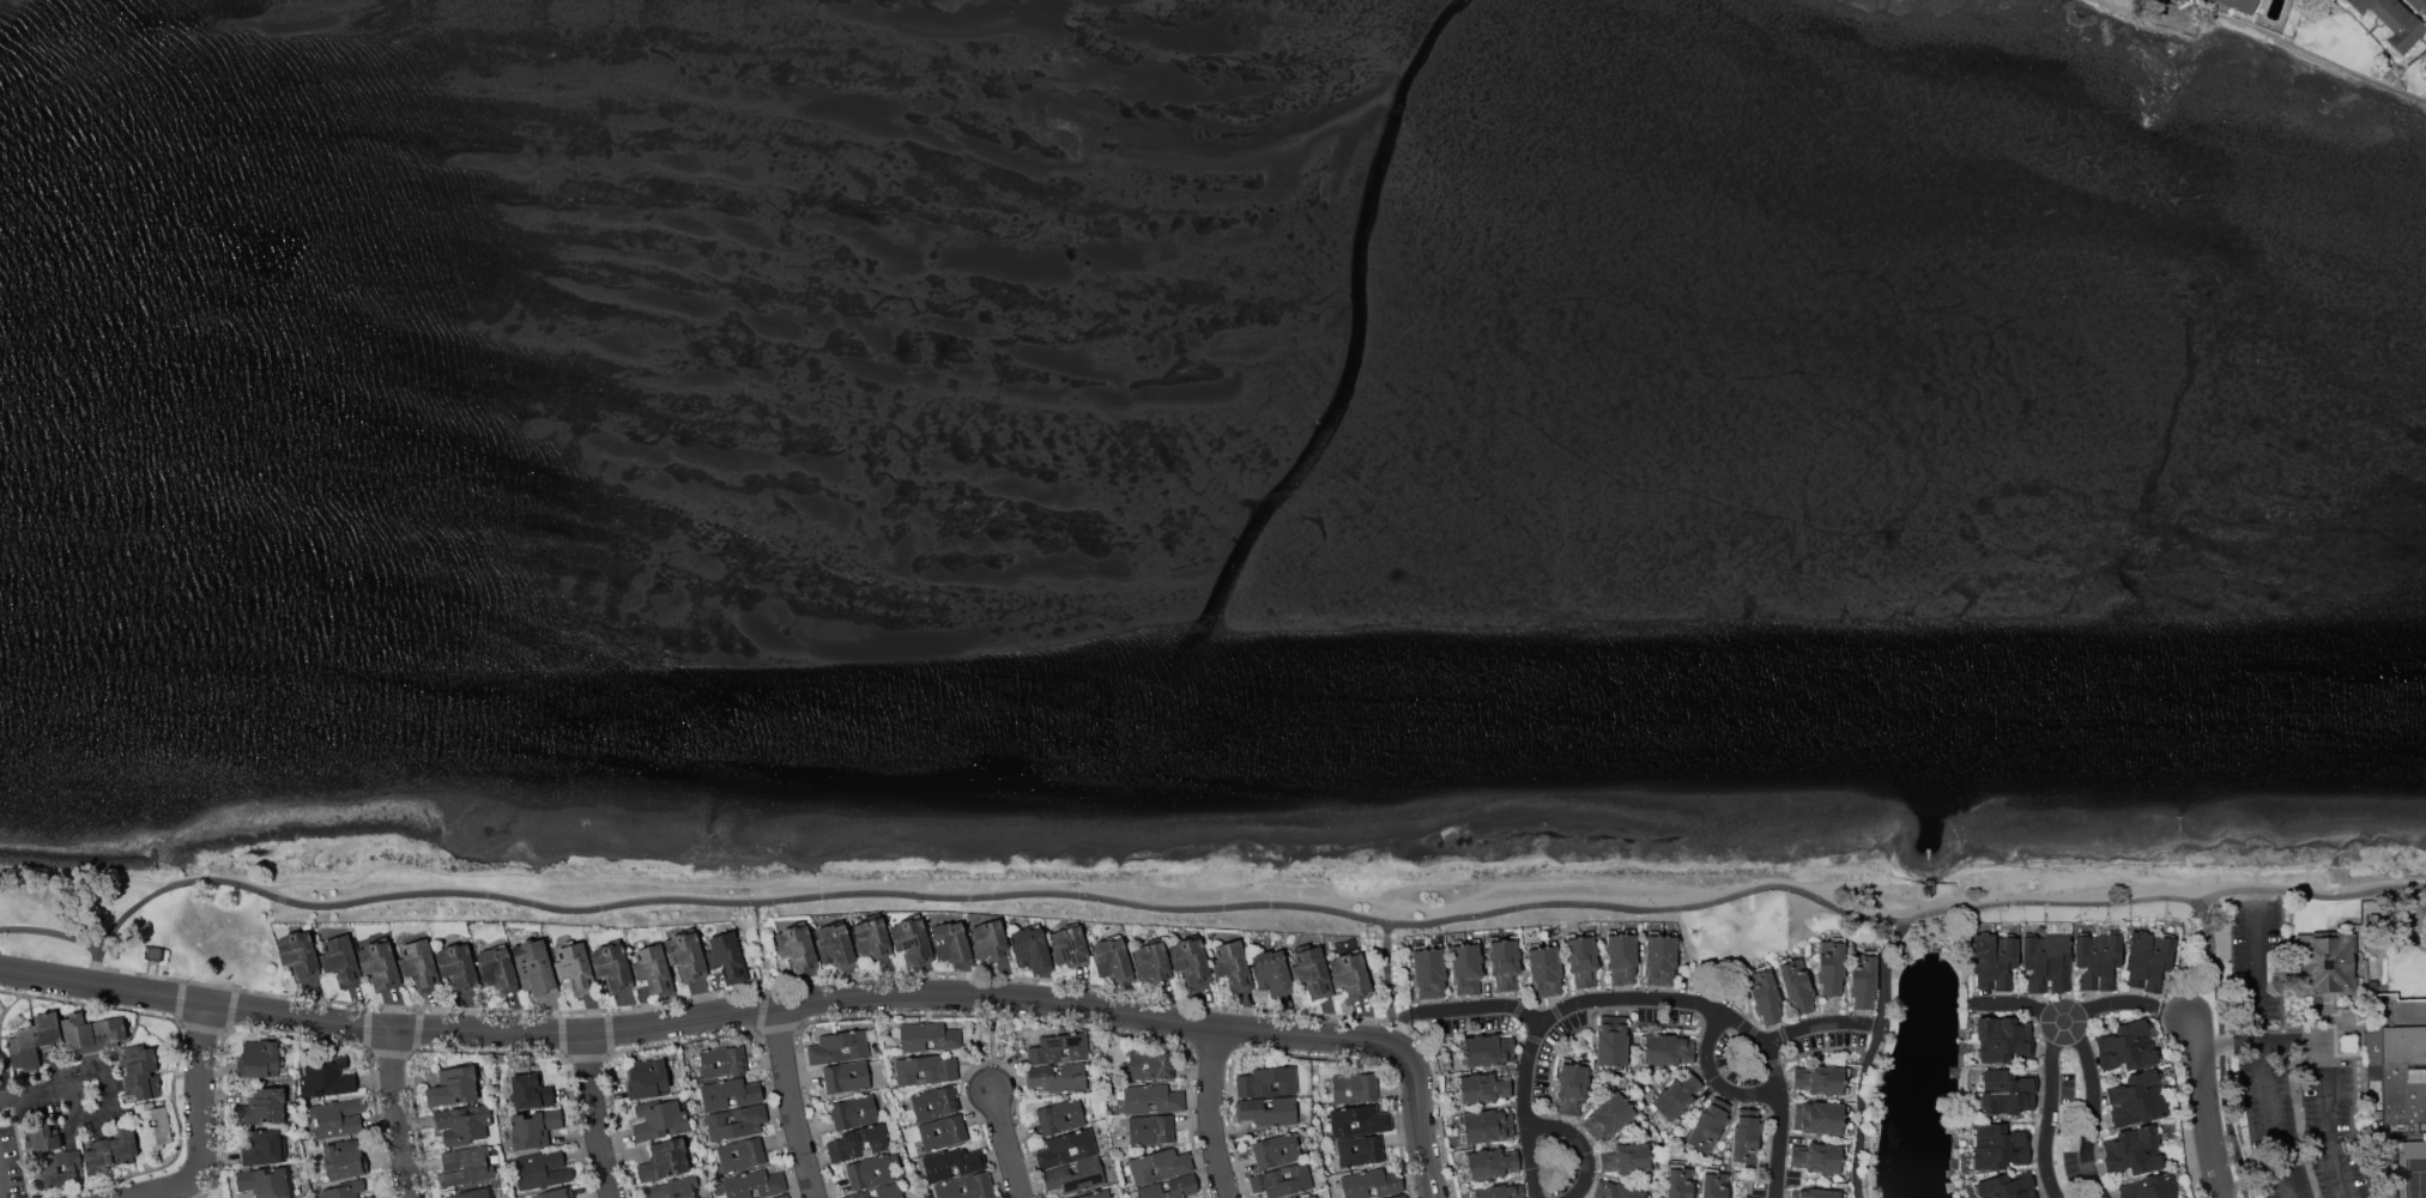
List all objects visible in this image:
building: (2418, 4)
building: (2240, 5)
road: (2191, 8)
road: (2147, 14)
building: (2394, 20)
road: (2376, 40)
park: (2221, 44)
road: (2294, 46)
road: (2413, 60)
building: (2425, 66)
road: (2410, 92)
road: (86, 877)
road: (825, 879)
road: (1436, 883)
road: (1620, 887)
road: (1858, 888)
road: (2129, 888)
park: (1142, 894)
road: (1442, 906)
road: (1464, 908)
road: (1202, 909)
building: (871, 938)
building: (949, 940)
building: (988, 940)
building: (910, 942)
building: (834, 944)
building: (1069, 946)
building: (1029, 948)
building: (798, 949)
building: (155, 952)
building: (300, 952)
road: (762, 954)
building: (686, 955)
building: (1621, 955)
building: (727, 957)
building: (1660, 957)
building: (1111, 958)
building: (1583, 958)
building: (1191, 960)
building: (2098, 960)
building: (2148, 960)
building: (340, 961)
building: (1994, 961)
building: (1151, 962)
building: (1504, 962)
building: (2046, 962)
building: (379, 963)
building: (2323, 963)
building: (418, 964)
building: (1832, 964)
building: (458, 966)
building: (612, 966)
building: (1234, 966)
building: (1466, 966)
road: (97, 968)
building: (534, 968)
building: (575, 968)
building: (1544, 968)
building: (497, 969)
building: (653, 970)
building: (1270, 970)
building: (1429, 970)
building: (1312, 973)
road: (2215, 973)
building: (1351, 975)
building: (1863, 980)
road: (1389, 984)
building: (1796, 985)
building: (1763, 993)
road: (1660, 1004)
road: (2258, 1005)
road: (2178, 1014)
road: (698, 1018)
road: (2069, 1021)
building: (110, 1030)
building: (78, 1033)
building: (928, 1036)
building: (2002, 1039)
building: (34, 1040)
building: (1613, 1041)
road: (2291, 1042)
building: (840, 1046)
building: (2128, 1046)
building: (1059, 1048)
building: (1486, 1049)
building: (1665, 1049)
road: (1871, 1058)
building: (259, 1059)
building: (721, 1061)
building: (2396, 1064)
building: (1151, 1065)
building: (925, 1070)
building: (140, 1073)
building: (326, 1077)
building: (846, 1077)
building: (1057, 1077)
building: (651, 1078)
parking lot: (2289, 1078)
road: (1716, 1079)
building: (1821, 1079)
building: (1266, 1081)
building: (455, 1087)
building: (1355, 1087)
building: (1573, 1087)
building: (1482, 1089)
building: (2005, 1091)
building: (532, 1093)
building: (728, 1094)
road: (32, 1095)
building: (1676, 1096)
building: (1152, 1099)
building: (2136, 1100)
building: (934, 1101)
road: (792, 1102)
road: (108, 1107)
building: (261, 1107)
road: (2085, 1108)
road: (2213, 1108)
road: (1535, 1111)
road: (2053, 1111)
building: (854, 1112)
road: (1208, 1112)
building: (1268, 1112)
road: (409, 1113)
building: (1610, 1115)
road: (601, 1117)
building: (1059, 1117)
building: (1820, 1117)
building: (339, 1118)
road: (1418, 1119)
road: (204, 1120)
building: (660, 1120)
building: (736, 1121)
building: (1359, 1121)
road: (1780, 1121)
building: (462, 1124)
building: (1486, 1125)
building: (162, 1126)
building: (1708, 1127)
building: (534, 1129)
building: (1151, 1130)
building: (943, 1132)
building: (42, 1136)
building: (1746, 1137)
building: (858, 1143)
road: (1006, 1145)
road: (1585, 1146)
building: (1998, 1146)
building: (264, 1148)
building: (1066, 1149)
building: (1360, 1149)
building: (113, 1150)
building: (1276, 1150)
building: (2132, 1152)
building: (742, 1155)
building: (1819, 1157)
building: (344, 1158)
building: (1628, 1158)
building: (664, 1161)
building: (951, 1163)
building: (1490, 1163)
building: (1160, 1164)
building: (47, 1167)
building: (465, 1167)
building: (544, 1169)
building: (872, 1170)
building: (1075, 1176)
park: (2415, 1179)
building: (1282, 1181)
building: (1678, 1181)
building: (265, 1182)
building: (1371, 1184)
building: (1713, 1184)
building: (755, 1185)
road: (1, 1186)
building: (2007, 1186)
building: (967, 1187)
building: (1170, 1187)
building: (2150, 1187)
road: (194, 1188)
building: (673, 1188)
building: (345, 1190)
building: (1616, 1191)
building: (879, 1192)
building: (1499, 1192)
building: (472, 1193)
building: (555, 1193)
building: (1815, 1193)
building: (1096, 1194)
building: (782, 1196)
building: (368, 1197)
building: (697, 1197)
building: (1308, 1197)
building: (1399, 1197)

